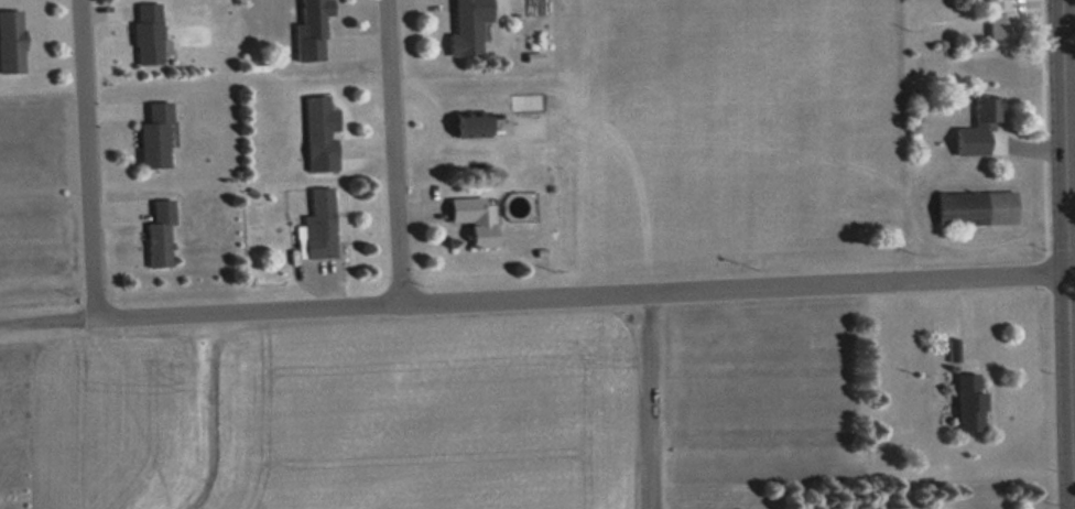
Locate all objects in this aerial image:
building: (996, 19)
building: (465, 26)
building: (308, 30)
building: (145, 33)
building: (9, 42)
building: (999, 66)
building: (982, 116)
building: (468, 126)
building: (317, 127)
building: (152, 137)
road: (391, 152)
road: (80, 158)
building: (970, 208)
building: (471, 219)
building: (318, 224)
building: (158, 234)
road: (1065, 253)
road: (580, 295)
road: (47, 318)
road: (651, 401)
building: (965, 404)

